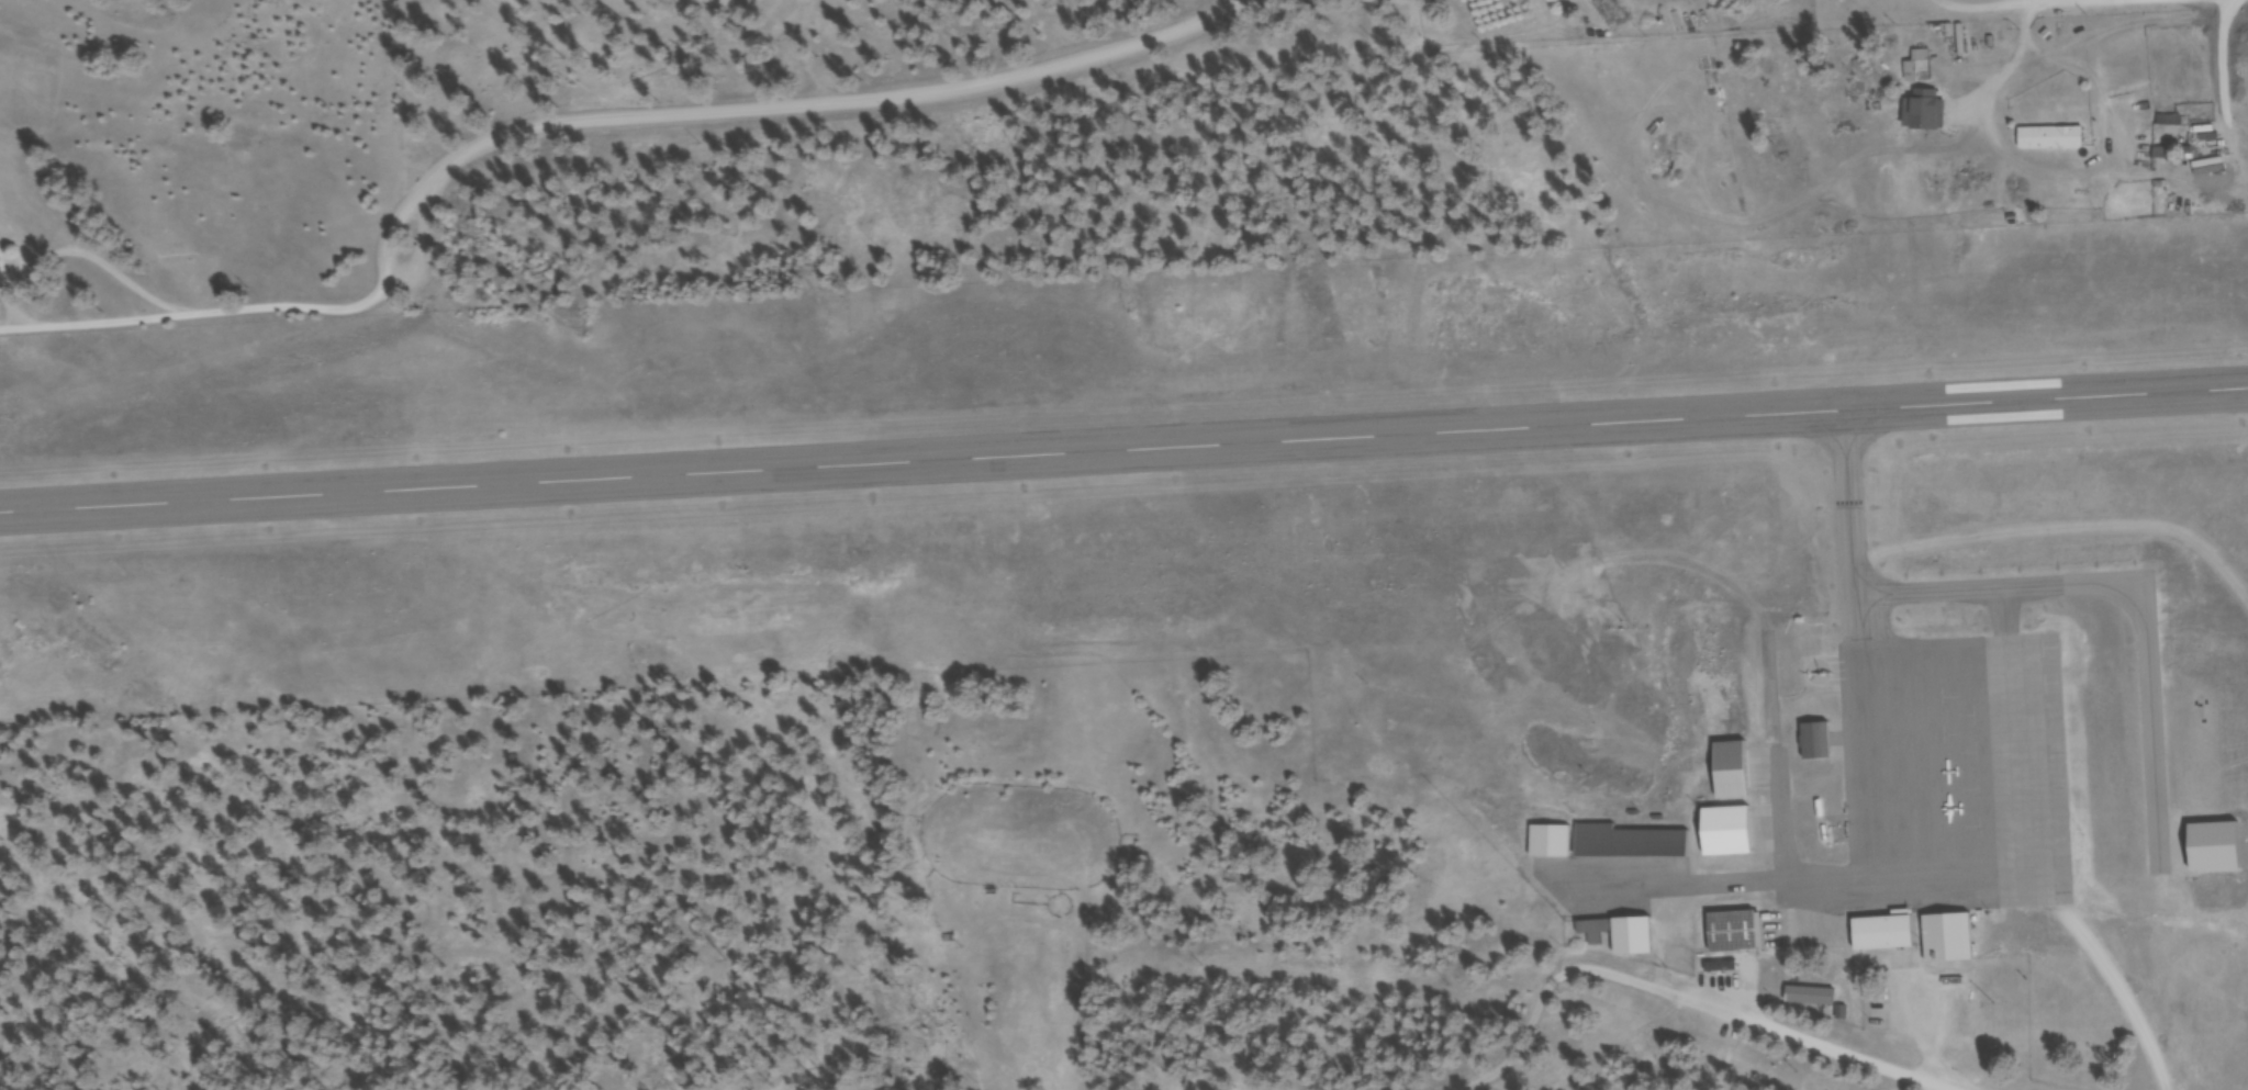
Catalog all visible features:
road: (1964, 1)
building: (1922, 69)
road: (689, 112)
building: (2194, 116)
building: (2054, 139)
building: (2189, 155)
building: (2165, 156)
road: (200, 308)
airport runway: (1123, 449)
airport: (1319, 562)
airport taxiway: (2049, 592)
airport taxiway: (1860, 622)
airport hangar: (1813, 676)
building: (1813, 676)
airport hangar: (1819, 744)
building: (1819, 744)
airport taxiway: (1776, 756)
airport hangar: (1734, 774)
building: (1734, 774)
airport taxiway: (1765, 775)
airport apron: (1947, 787)
airport taxiway: (1821, 790)
airport taxiway: (1768, 834)
airport hangar: (1730, 835)
building: (1730, 835)
airport hangar: (1553, 843)
building: (1553, 843)
airport hangar: (1631, 845)
building: (1631, 845)
airport hangar: (2216, 854)
building: (2216, 854)
airport taxiway: (1837, 878)
airport hangar: (1597, 933)
building: (1597, 933)
airport hangar: (1735, 933)
building: (1735, 933)
airport terminal: (1886, 936)
building: (1886, 936)
airport hangar: (1635, 939)
building: (1635, 939)
airport hangar: (1951, 941)
building: (1951, 941)
road: (2122, 992)
building: (1813, 998)
parking lot: (1916, 1001)
road: (1692, 1002)
building: (1844, 1014)
road: (1928, 1034)

